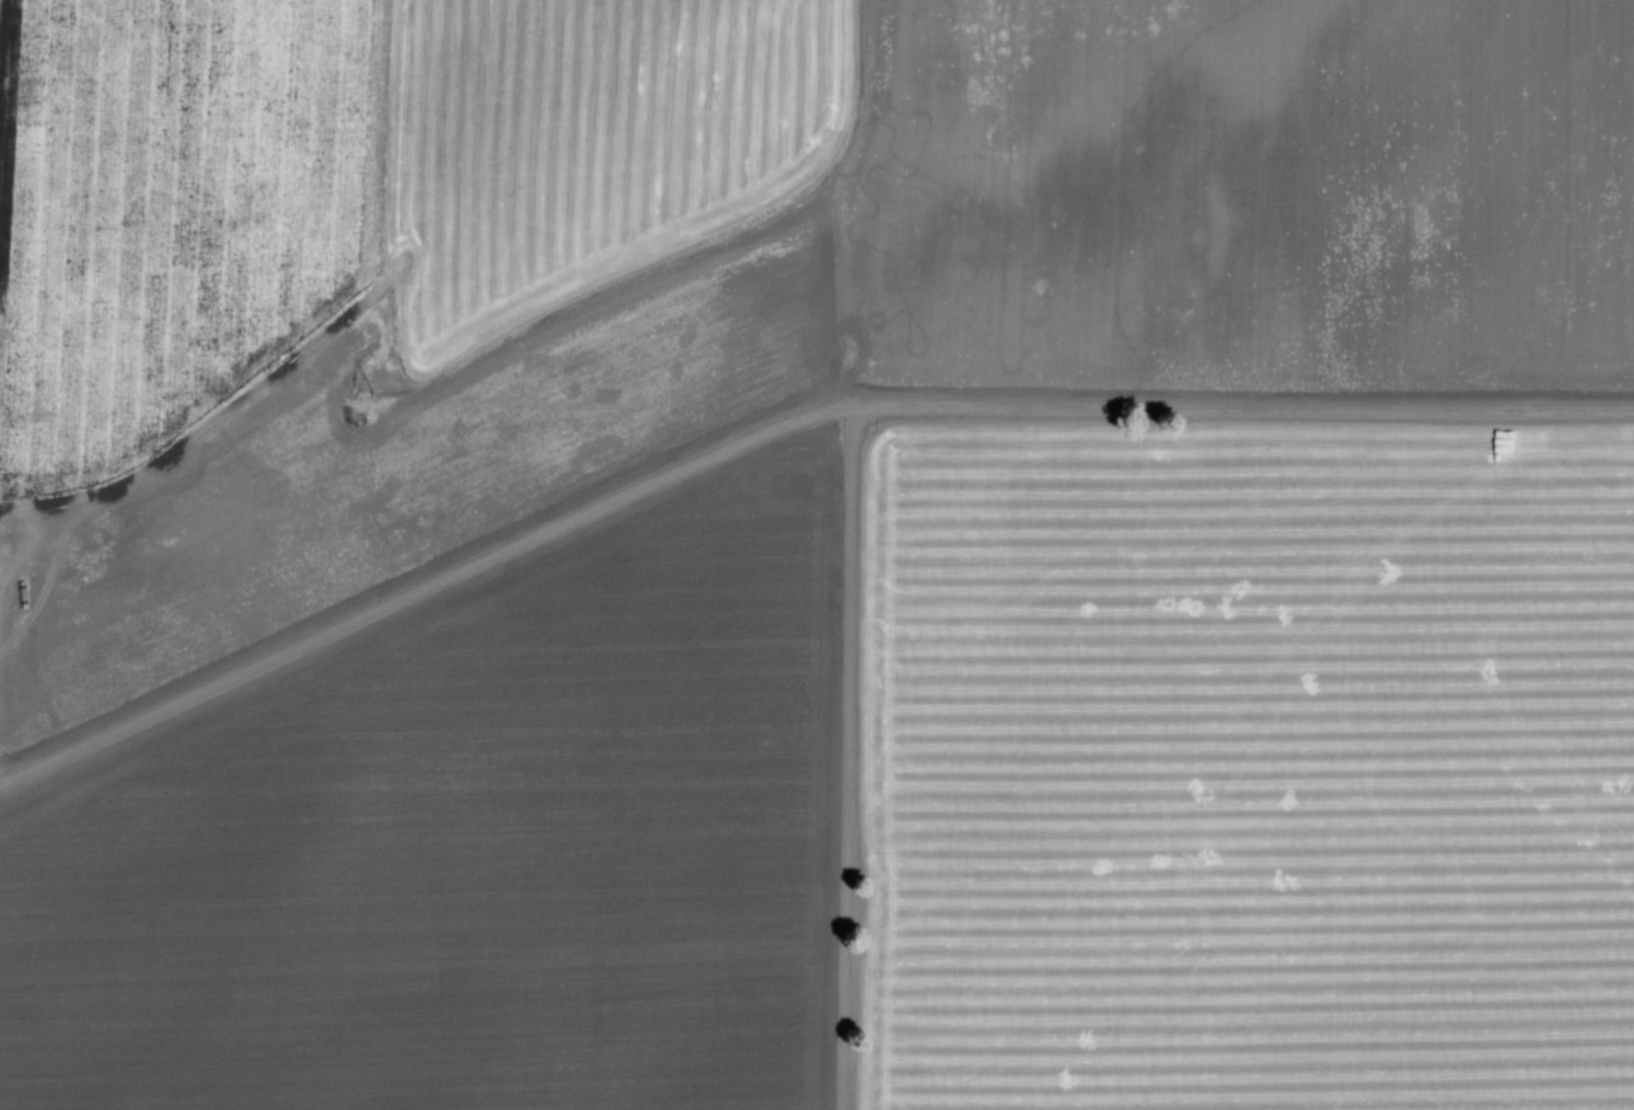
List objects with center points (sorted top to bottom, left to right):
road: (769, 409)

